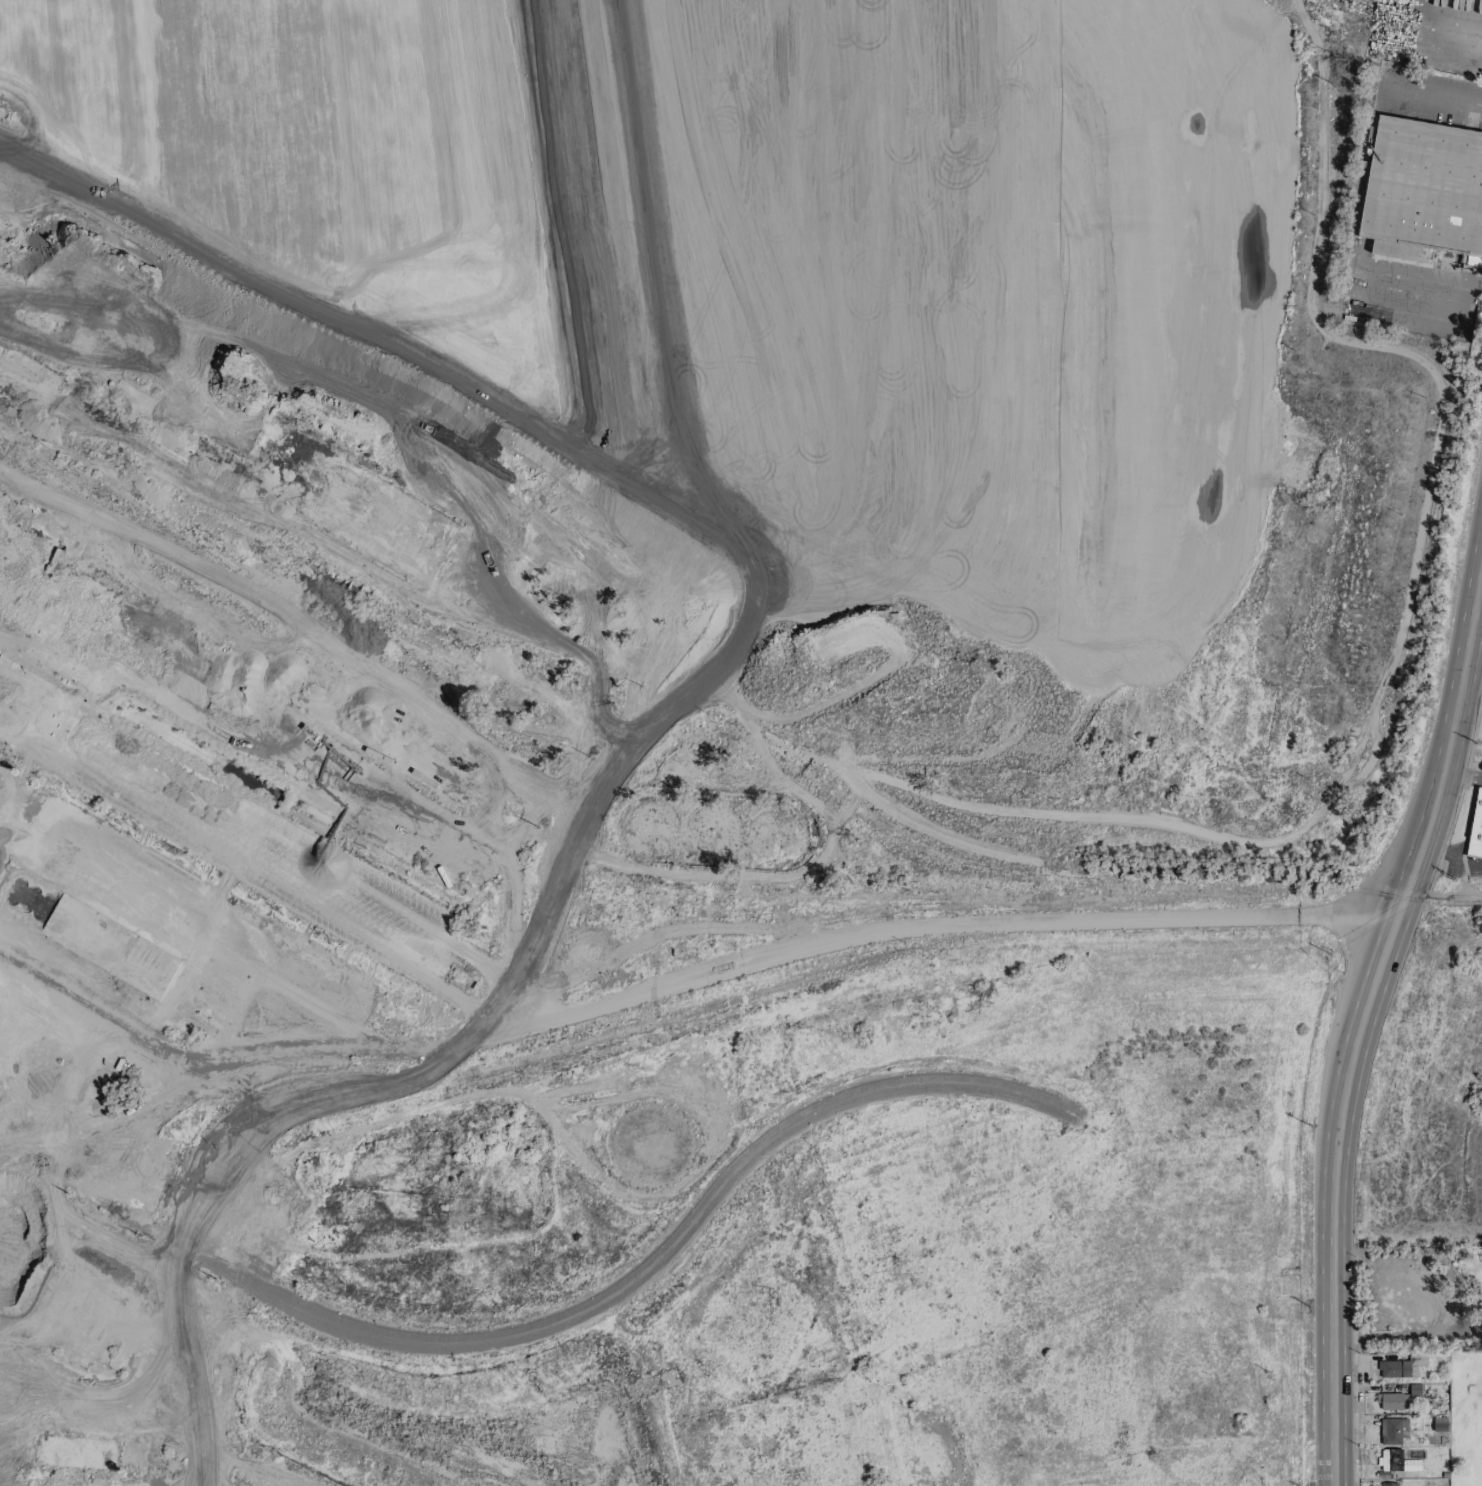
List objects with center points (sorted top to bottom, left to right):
road: (1435, 18)
road: (1417, 94)
road: (1097, 131)
building: (1423, 191)
road: (1354, 252)
building: (33, 696)
quarry: (697, 720)
road: (574, 763)
building: (120, 764)
road: (1462, 779)
road: (172, 797)
road: (1435, 804)
building: (1476, 827)
road: (1444, 890)
railway: (1442, 902)
railway: (97, 974)
road: (682, 979)
railway: (90, 982)
road: (512, 1015)
railway: (83, 1033)
railway: (628, 1033)
road: (1332, 1261)
railway: (650, 1273)
railway: (561, 1315)
road: (1406, 1333)
building: (1402, 1367)
building: (1399, 1399)
building: (1439, 1424)
building: (1393, 1432)
building: (1396, 1462)
road: (250, 1466)
building: (1388, 1485)

